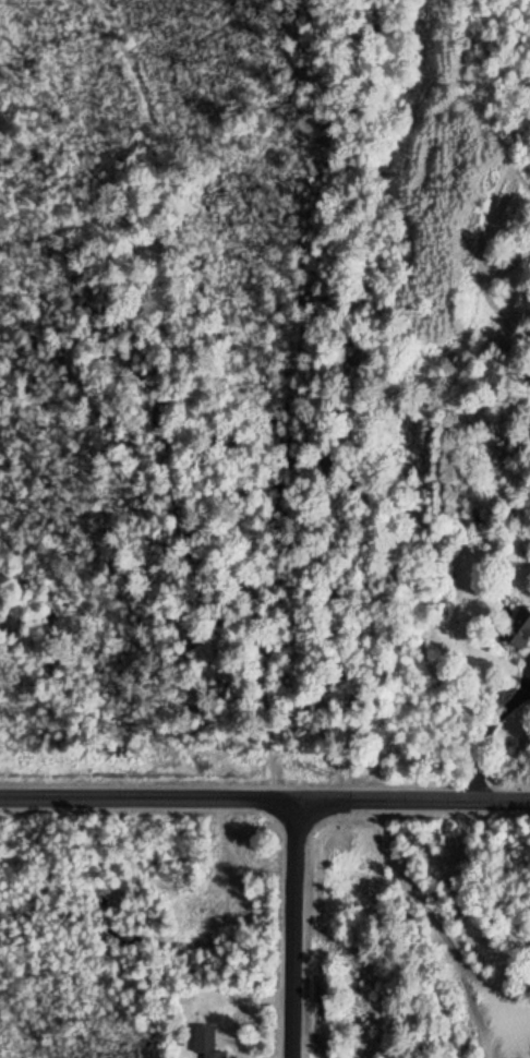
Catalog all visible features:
building: (515, 629)
road: (265, 799)
road: (294, 928)
building: (210, 1042)

